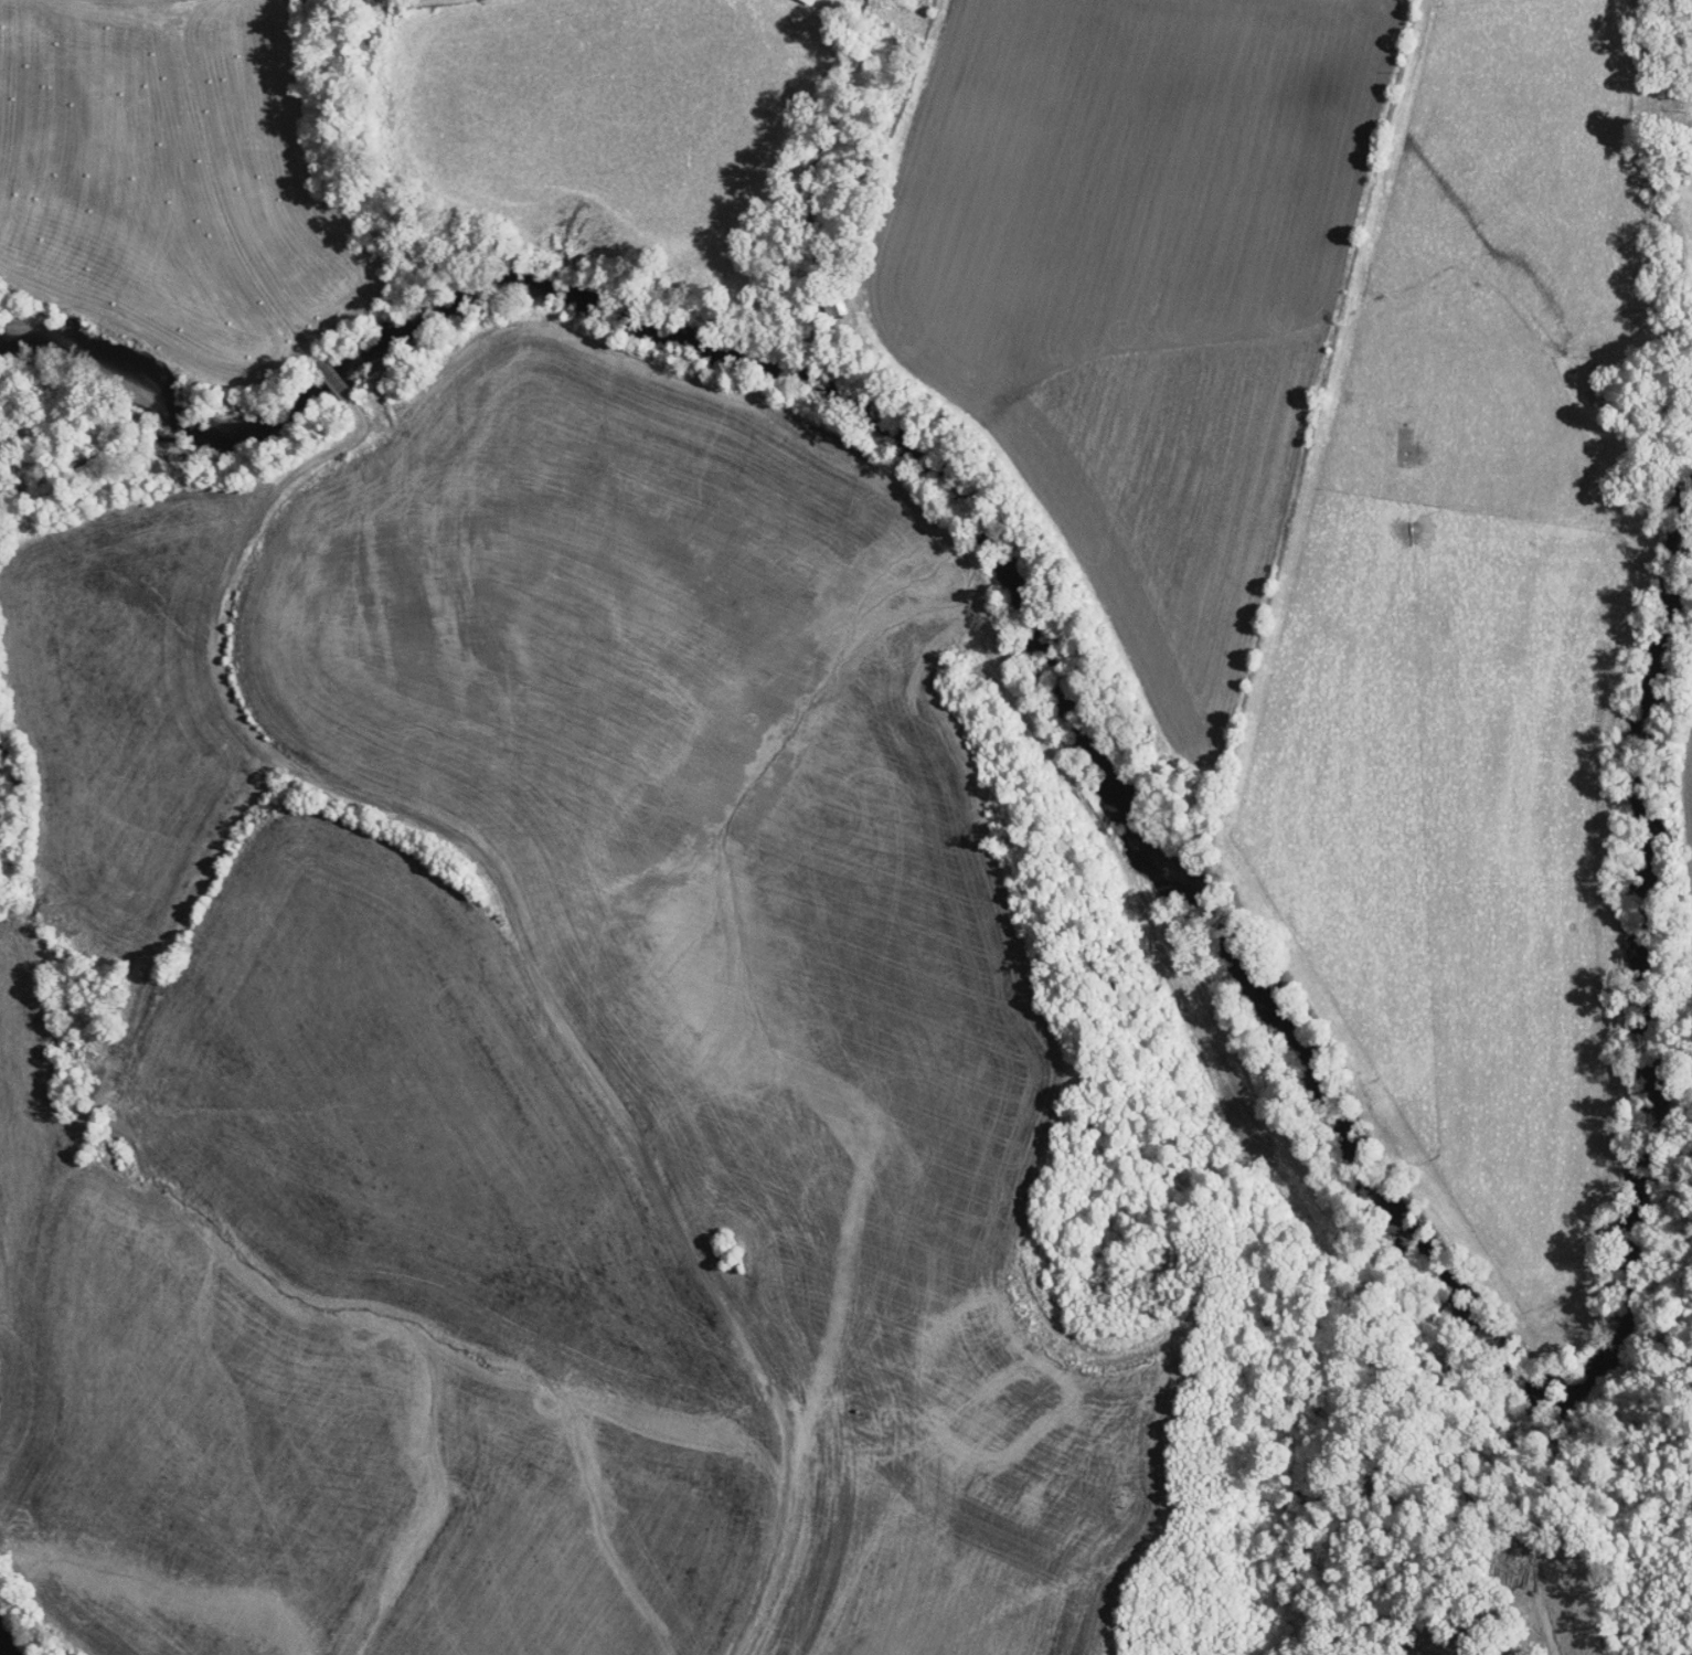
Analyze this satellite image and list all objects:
road: (407, 2)
river: (637, 296)
river: (357, 350)
river: (114, 357)
road: (565, 1018)
road: (63, 1073)
river: (1450, 1262)
road: (408, 1287)

